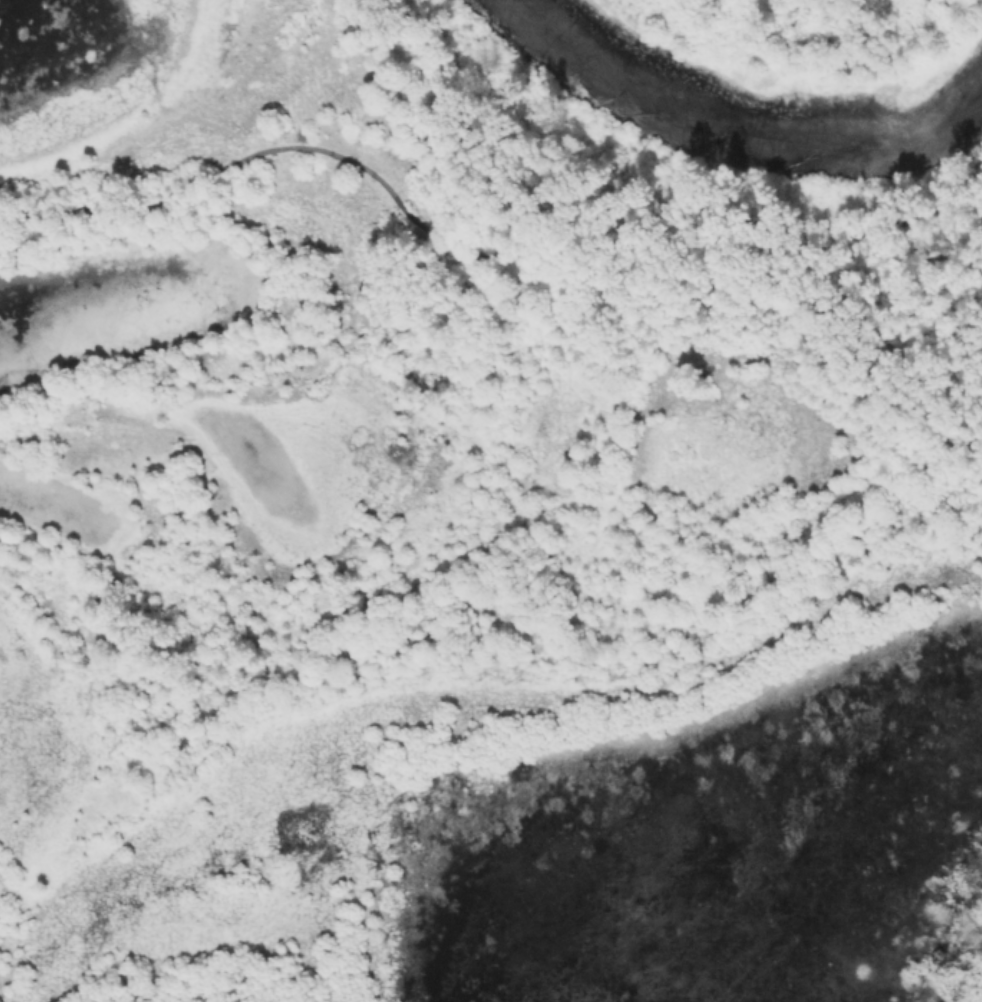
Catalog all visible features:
road: (393, 192)
road: (893, 222)
road: (931, 256)
road: (859, 360)

